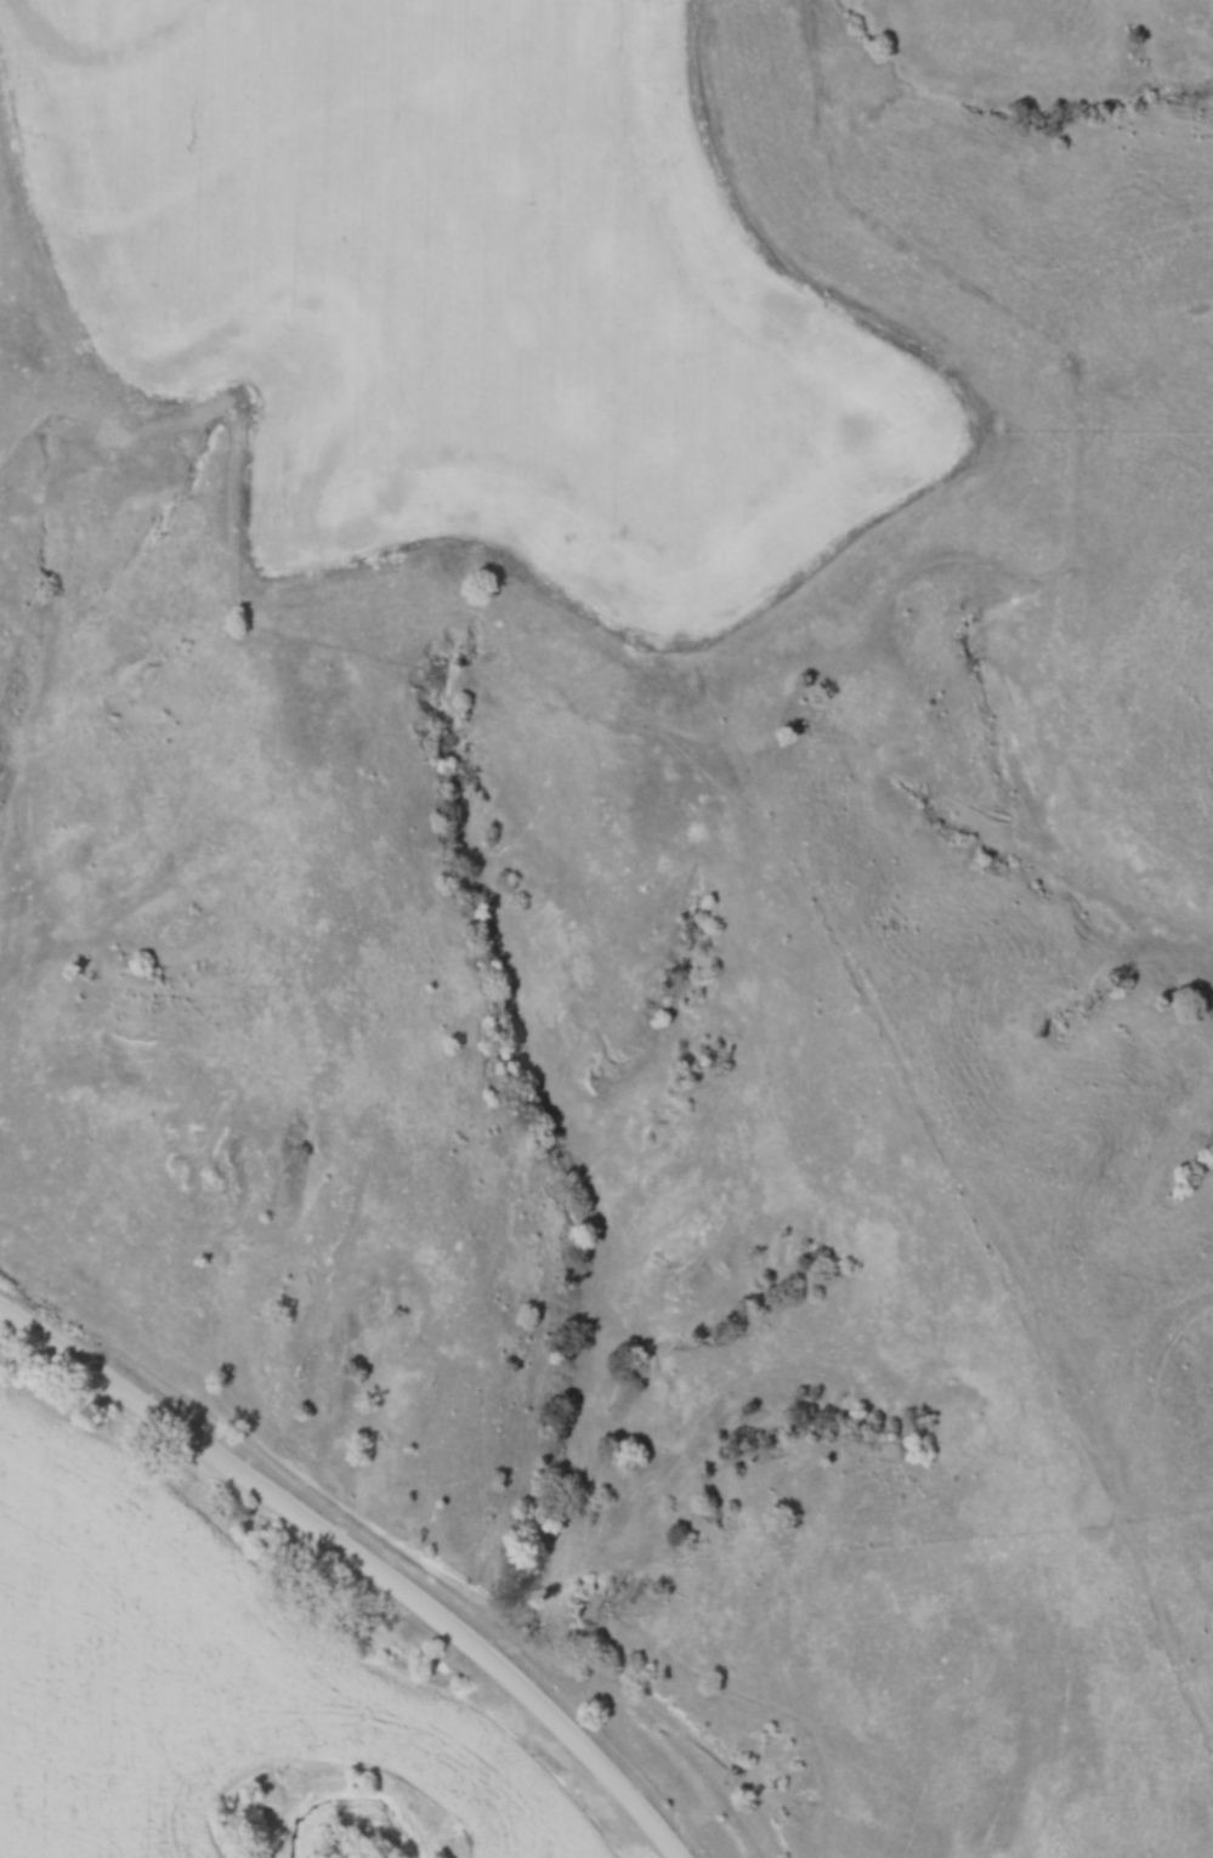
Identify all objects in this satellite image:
road: (363, 1557)

